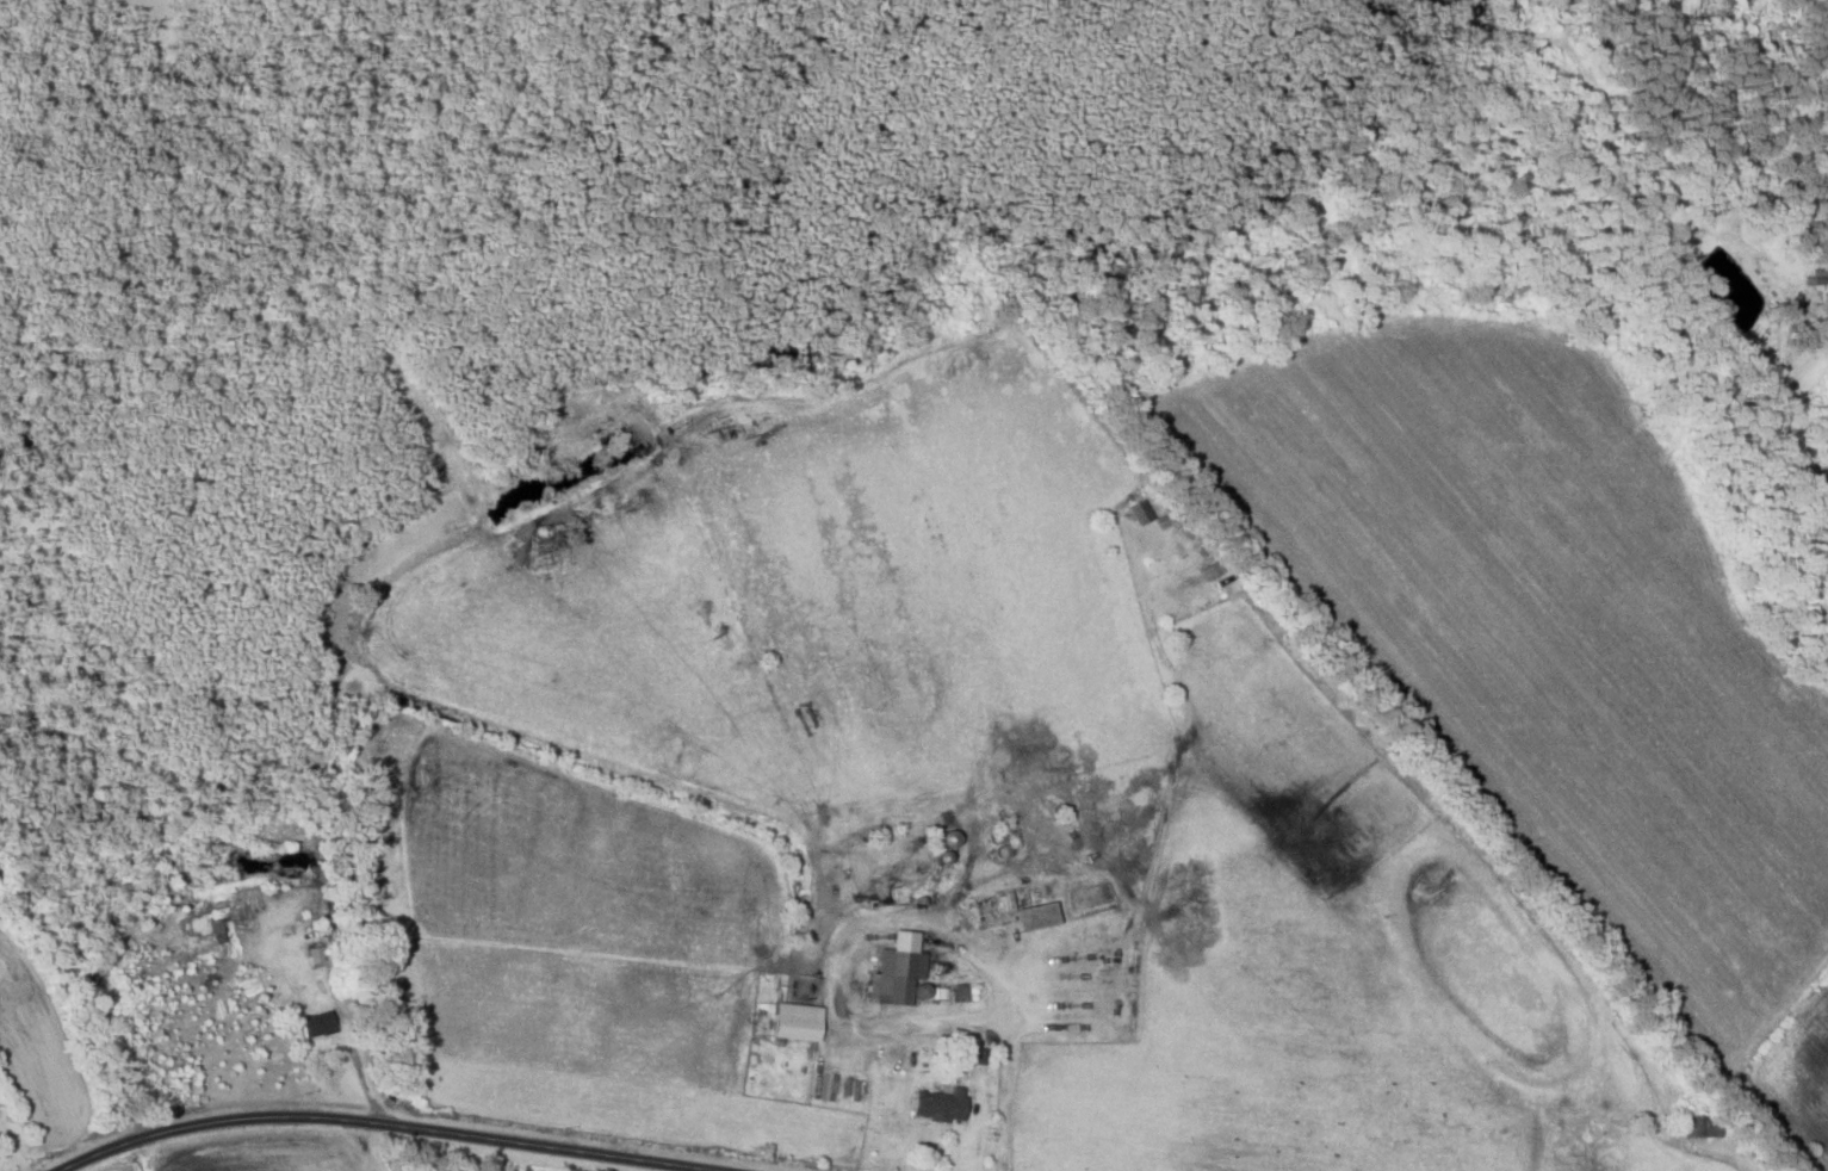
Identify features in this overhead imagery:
road: (1767, 432)
building: (1188, 593)
building: (1039, 917)
building: (241, 918)
building: (897, 977)
building: (960, 992)
building: (799, 1023)
building: (320, 1026)
building: (942, 1105)
road: (390, 1123)
building: (1703, 1127)

